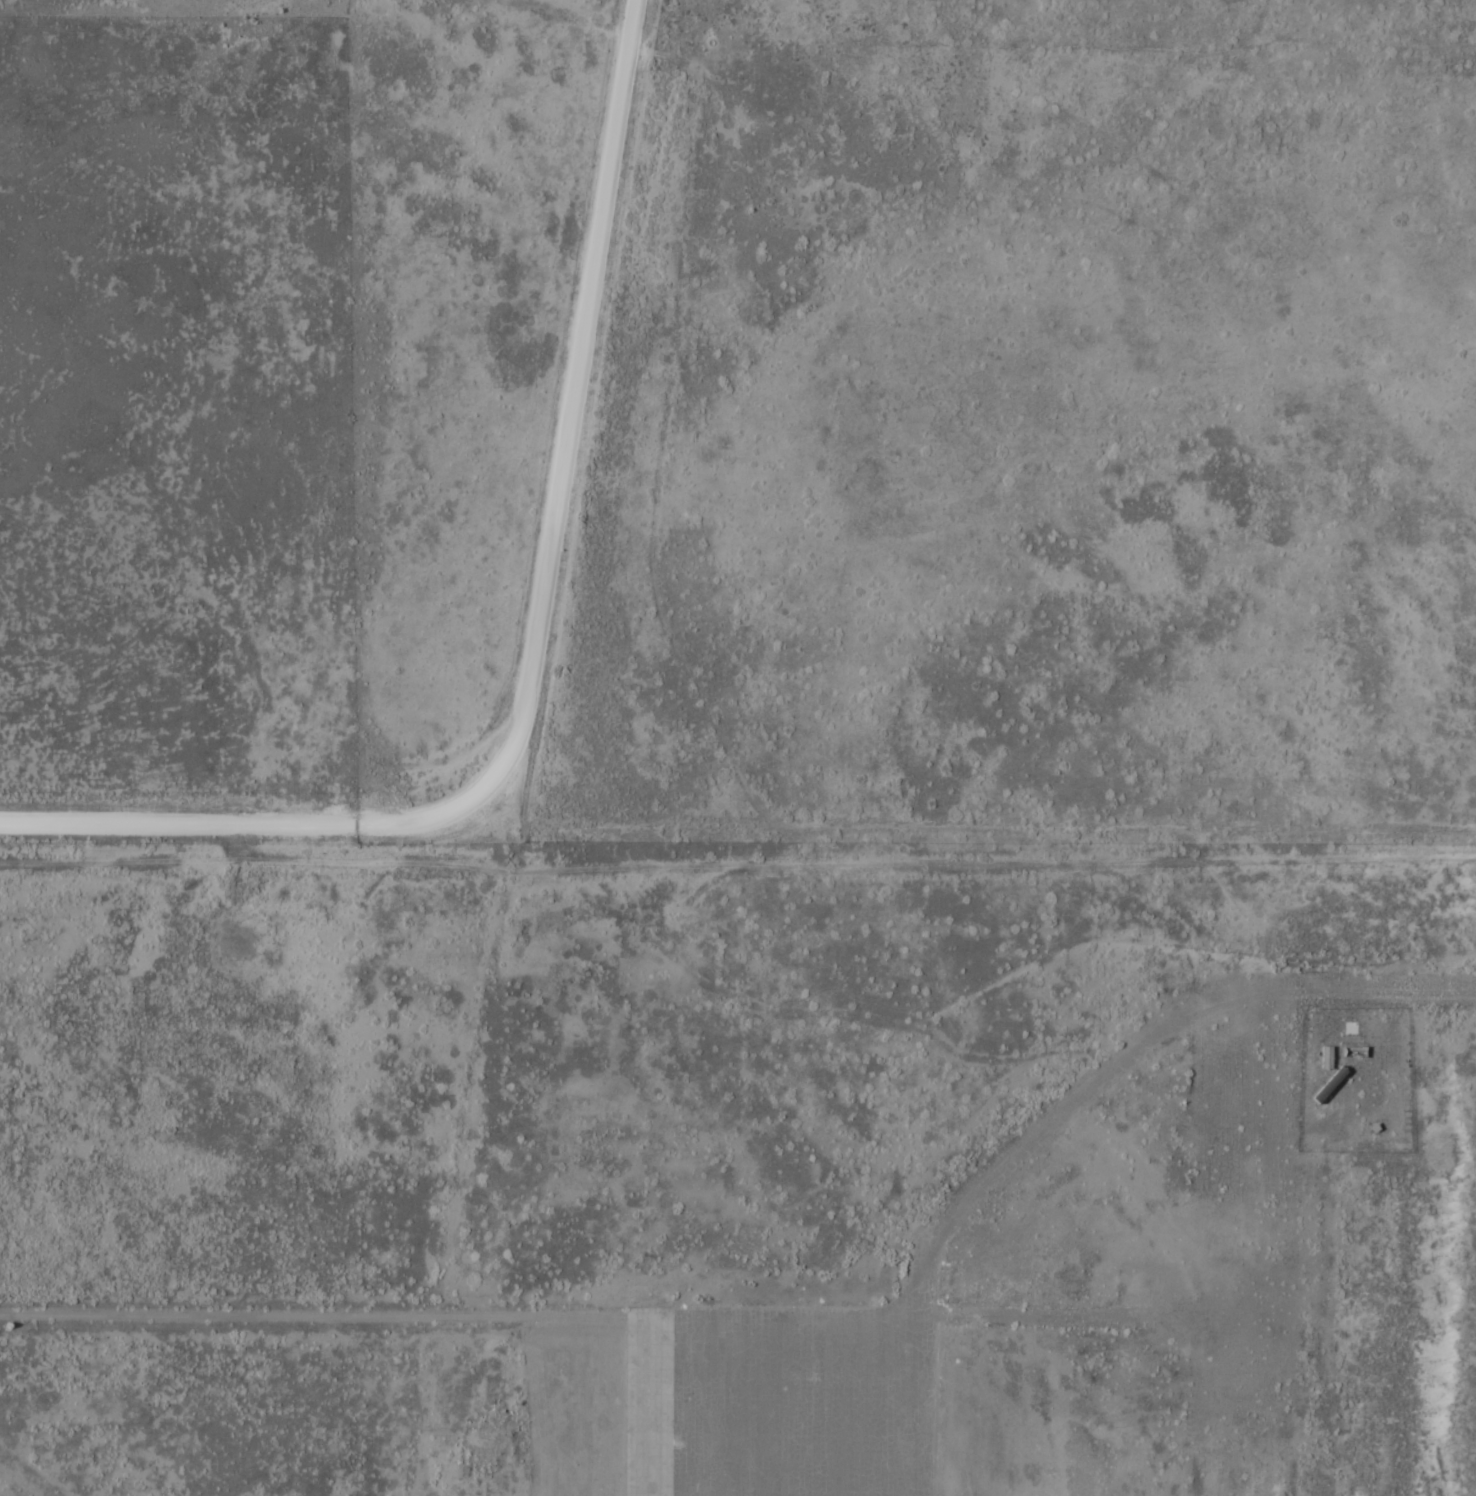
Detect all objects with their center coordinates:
road: (707, 32)
road: (633, 34)
road: (666, 67)
road: (535, 680)
road: (722, 800)
airport taxiway: (1137, 1043)
building: (1354, 1050)
building: (1325, 1056)
building: (1329, 1084)
road: (309, 1316)
airport apron: (780, 1400)

